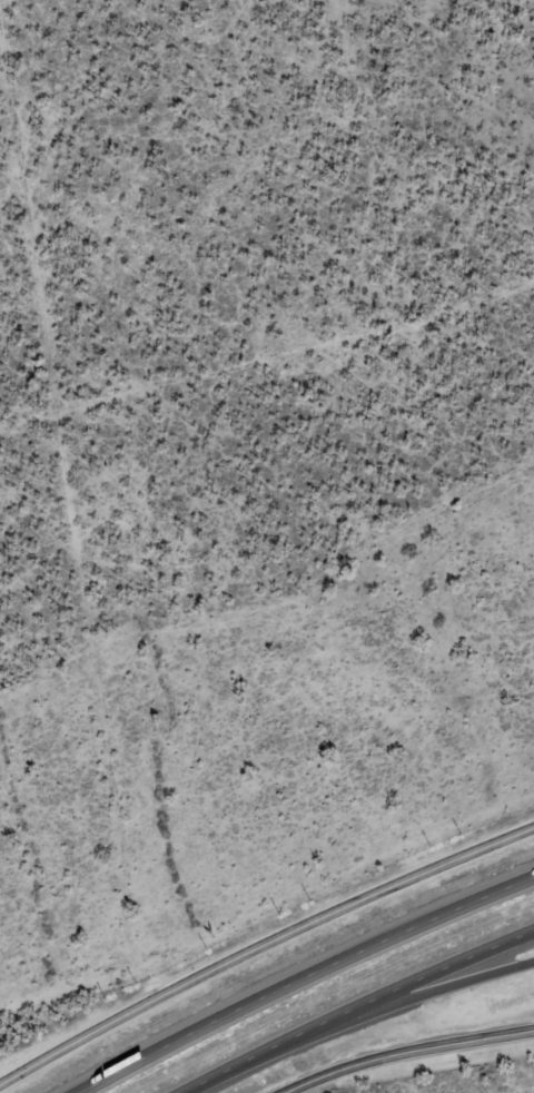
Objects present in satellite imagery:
road: (266, 951)
road: (301, 976)
road: (355, 1005)
road: (372, 1010)
road: (409, 1052)

